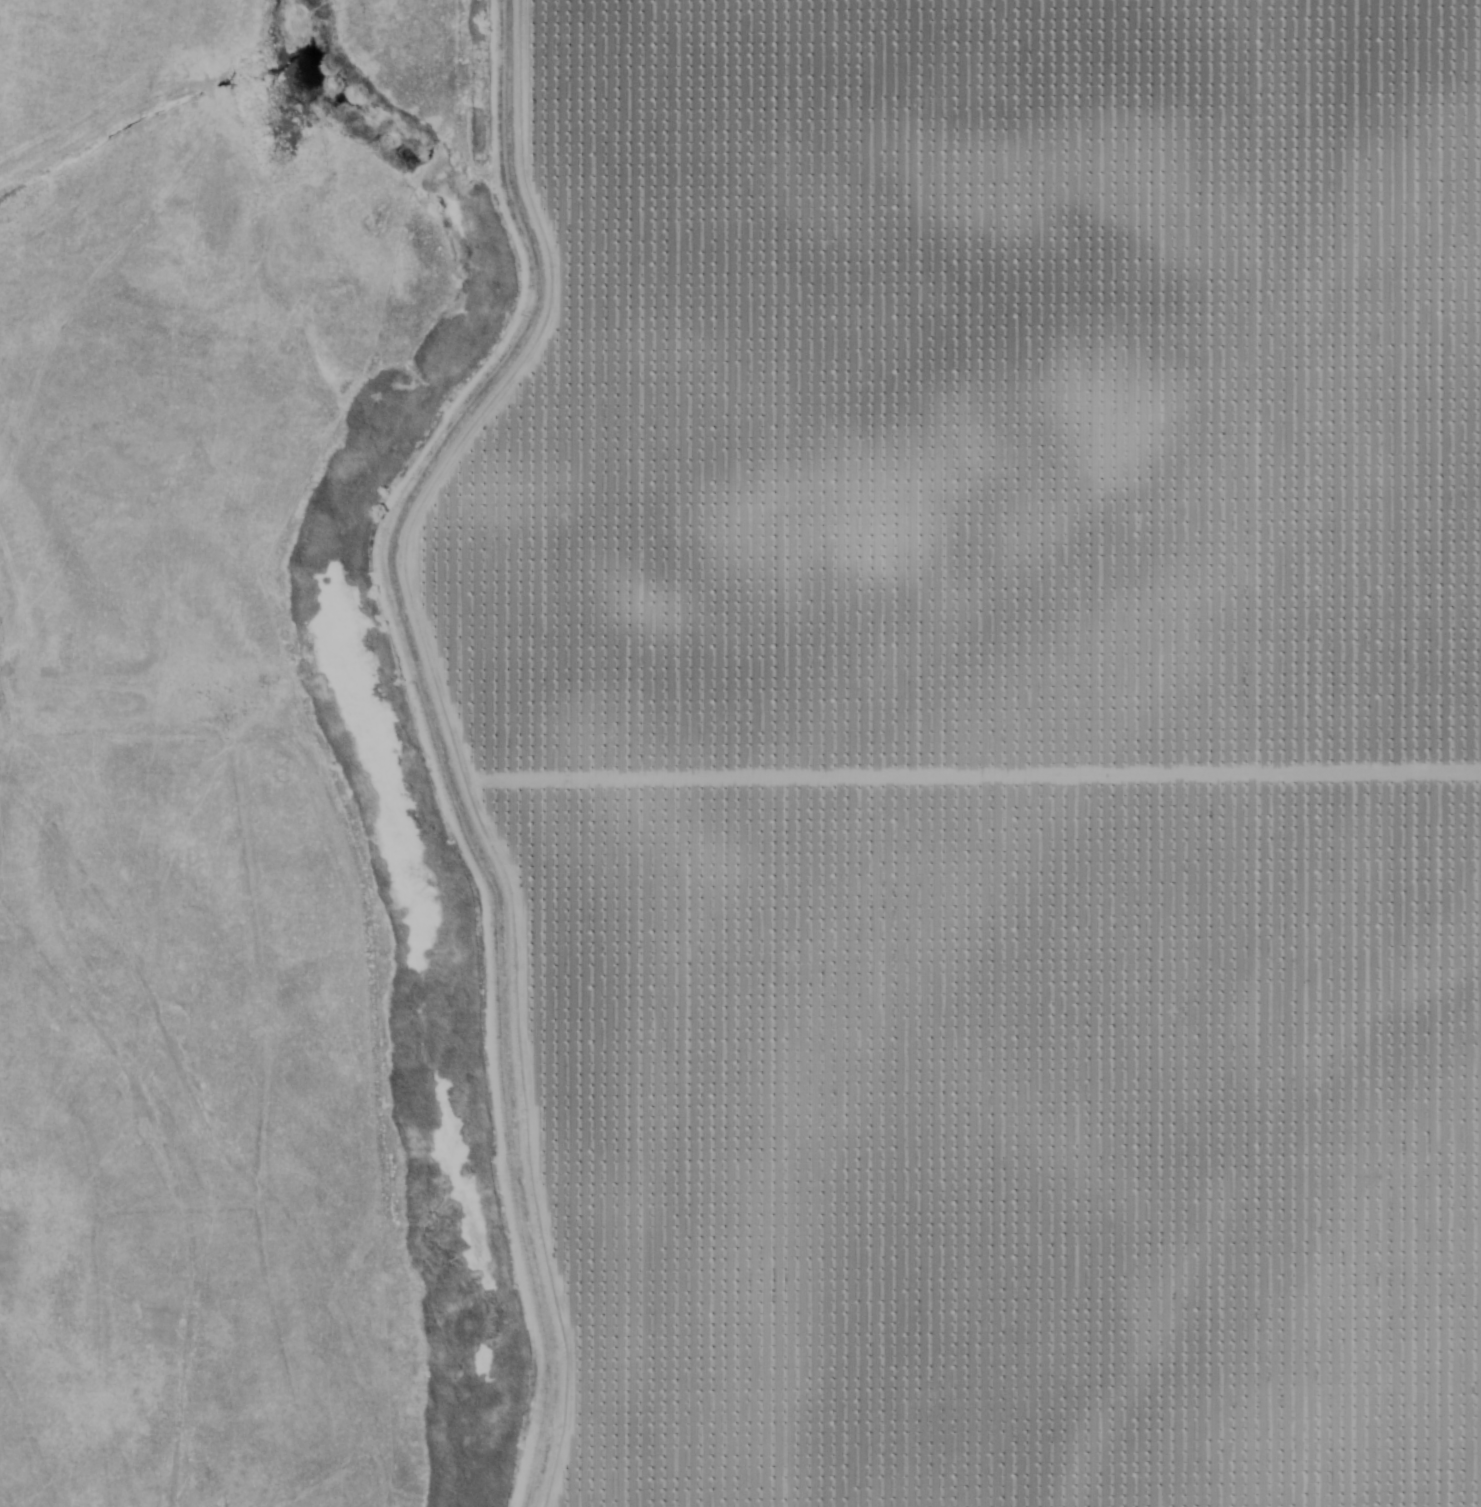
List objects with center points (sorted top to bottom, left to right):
crop: (991, 746)
road: (557, 753)
road: (1256, 1288)

